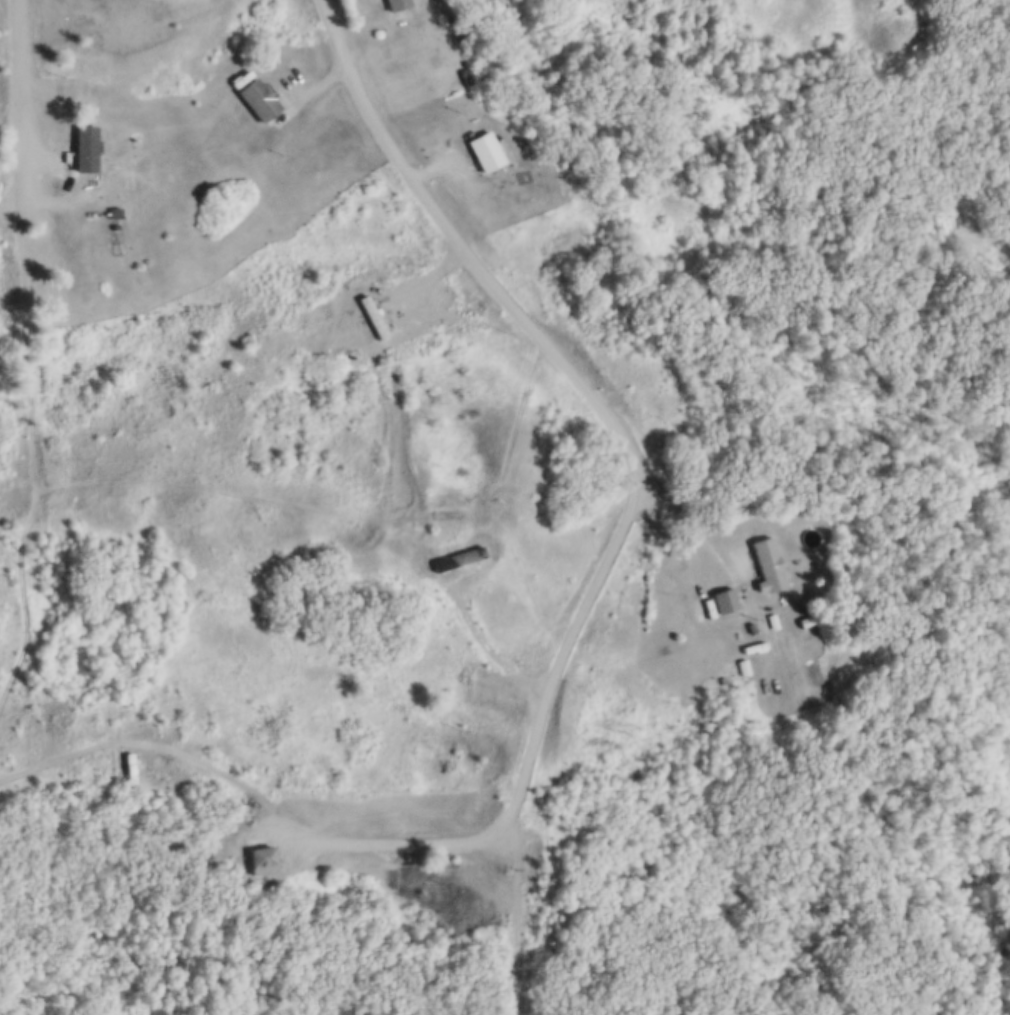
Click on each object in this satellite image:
building: (45, 0)
building: (396, 3)
road: (130, 29)
building: (257, 97)
road: (25, 98)
building: (84, 145)
building: (487, 148)
road: (11, 204)
building: (523, 204)
building: (115, 210)
building: (561, 236)
road: (25, 345)
road: (640, 471)
road: (325, 512)
road: (682, 524)
building: (768, 562)
building: (725, 597)
building: (774, 619)
building: (752, 626)
building: (723, 669)
building: (127, 765)
road: (307, 836)
building: (262, 858)

